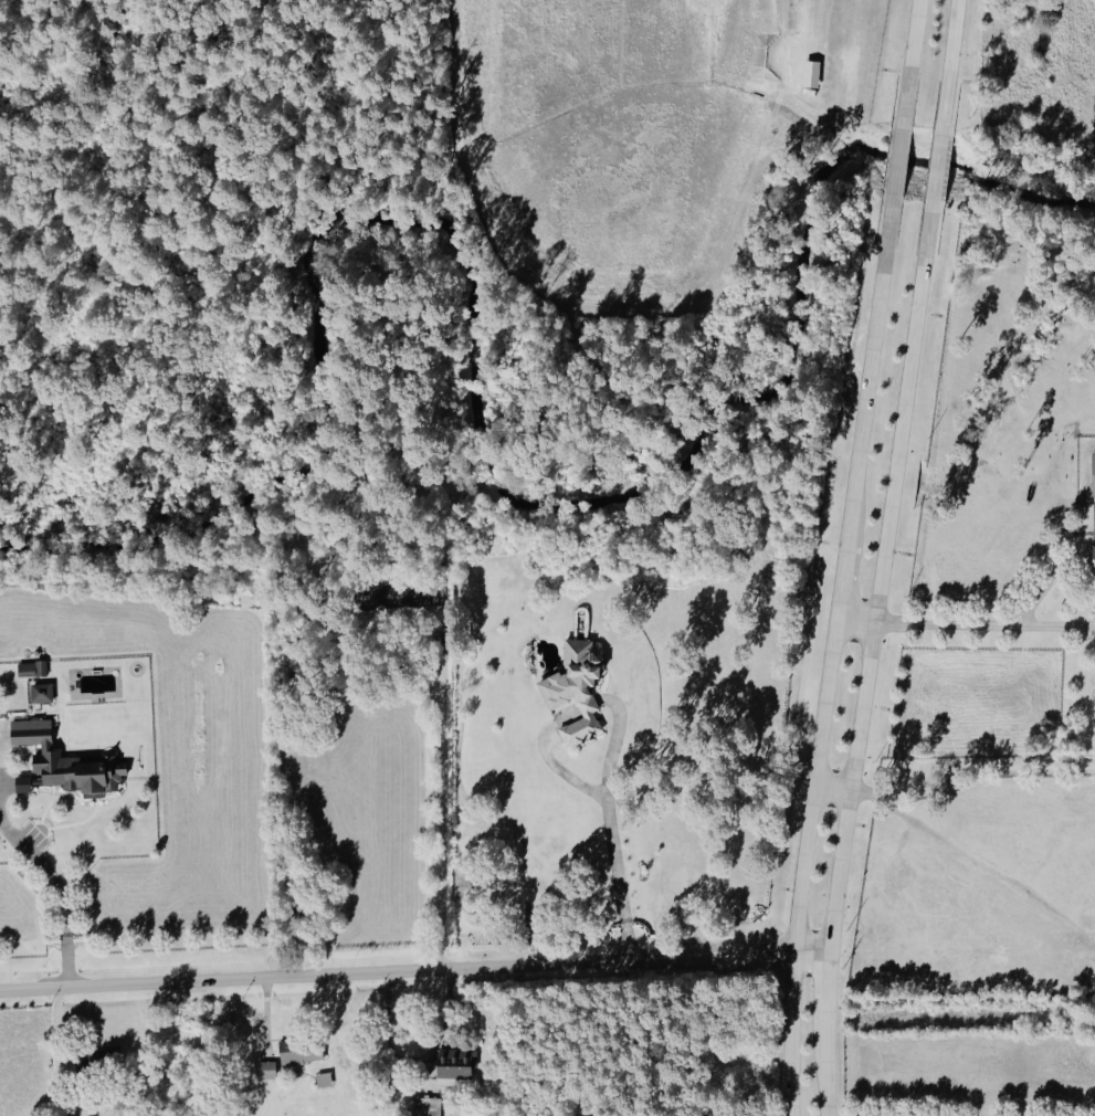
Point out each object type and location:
road: (912, 61)
road: (950, 63)
road: (897, 161)
road: (937, 166)
road: (903, 413)
river: (478, 422)
building: (1094, 474)
building: (1092, 560)
building: (399, 598)
road: (855, 618)
road: (985, 623)
road: (831, 656)
building: (33, 668)
building: (576, 689)
building: (43, 693)
building: (67, 761)
road: (552, 762)
road: (970, 776)
building: (23, 785)
road: (833, 785)
road: (851, 786)
road: (445, 808)
road: (609, 825)
road: (57, 886)
road: (414, 970)
road: (830, 983)
road: (442, 1032)
road: (60, 1040)
road: (389, 1043)
building: (302, 1052)
building: (455, 1065)
road: (830, 1065)
building: (269, 1070)
building: (324, 1081)
building: (428, 1106)

